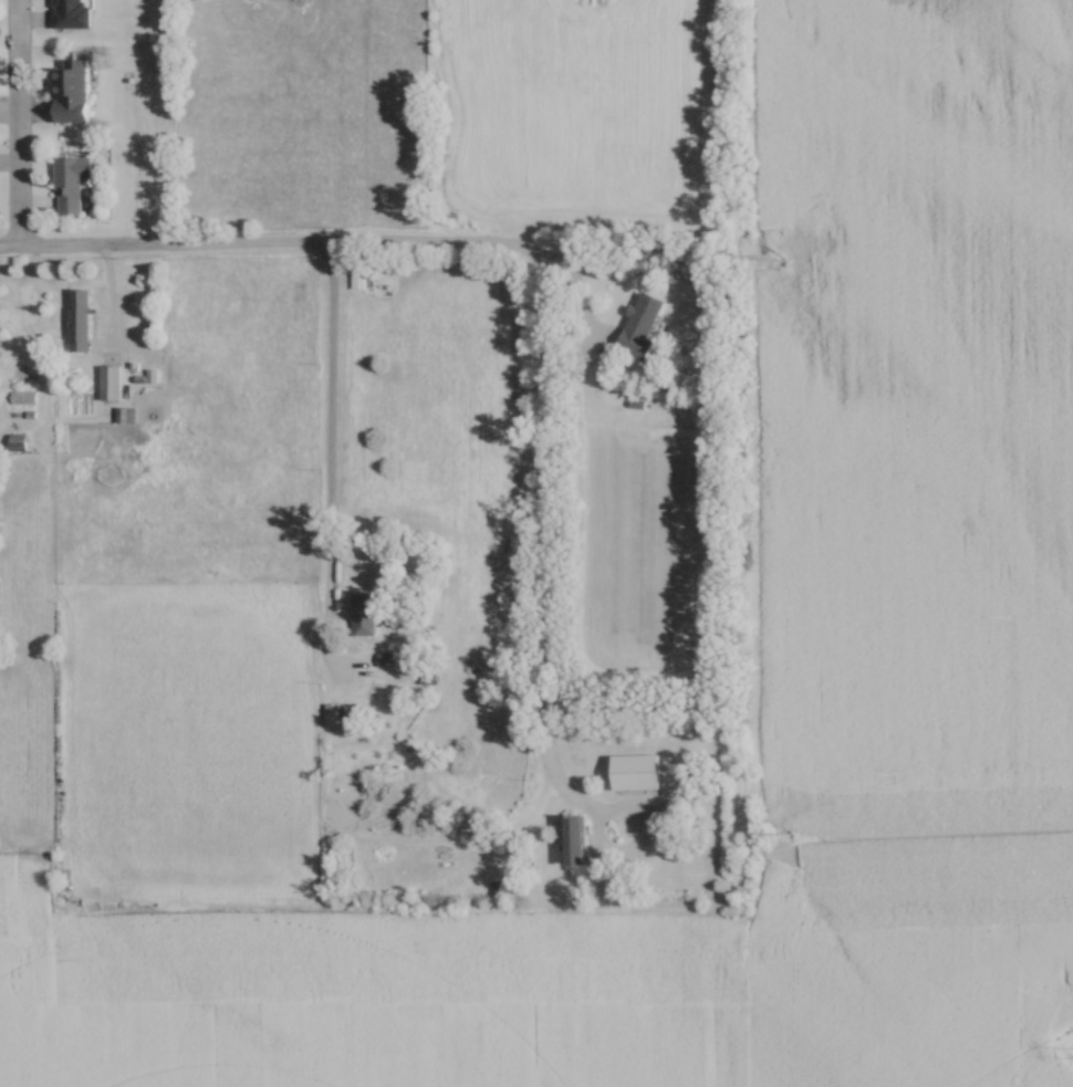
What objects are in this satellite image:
building: (71, 14)
building: (70, 92)
road: (15, 122)
building: (69, 184)
road: (439, 238)
road: (166, 242)
power tower: (771, 259)
road: (582, 293)
road: (111, 301)
building: (79, 321)
building: (639, 326)
building: (108, 383)
building: (124, 416)
building: (17, 442)
road: (331, 457)
building: (362, 615)
road: (545, 616)
building: (332, 714)
building: (634, 773)
power tower: (780, 833)
building: (572, 840)

